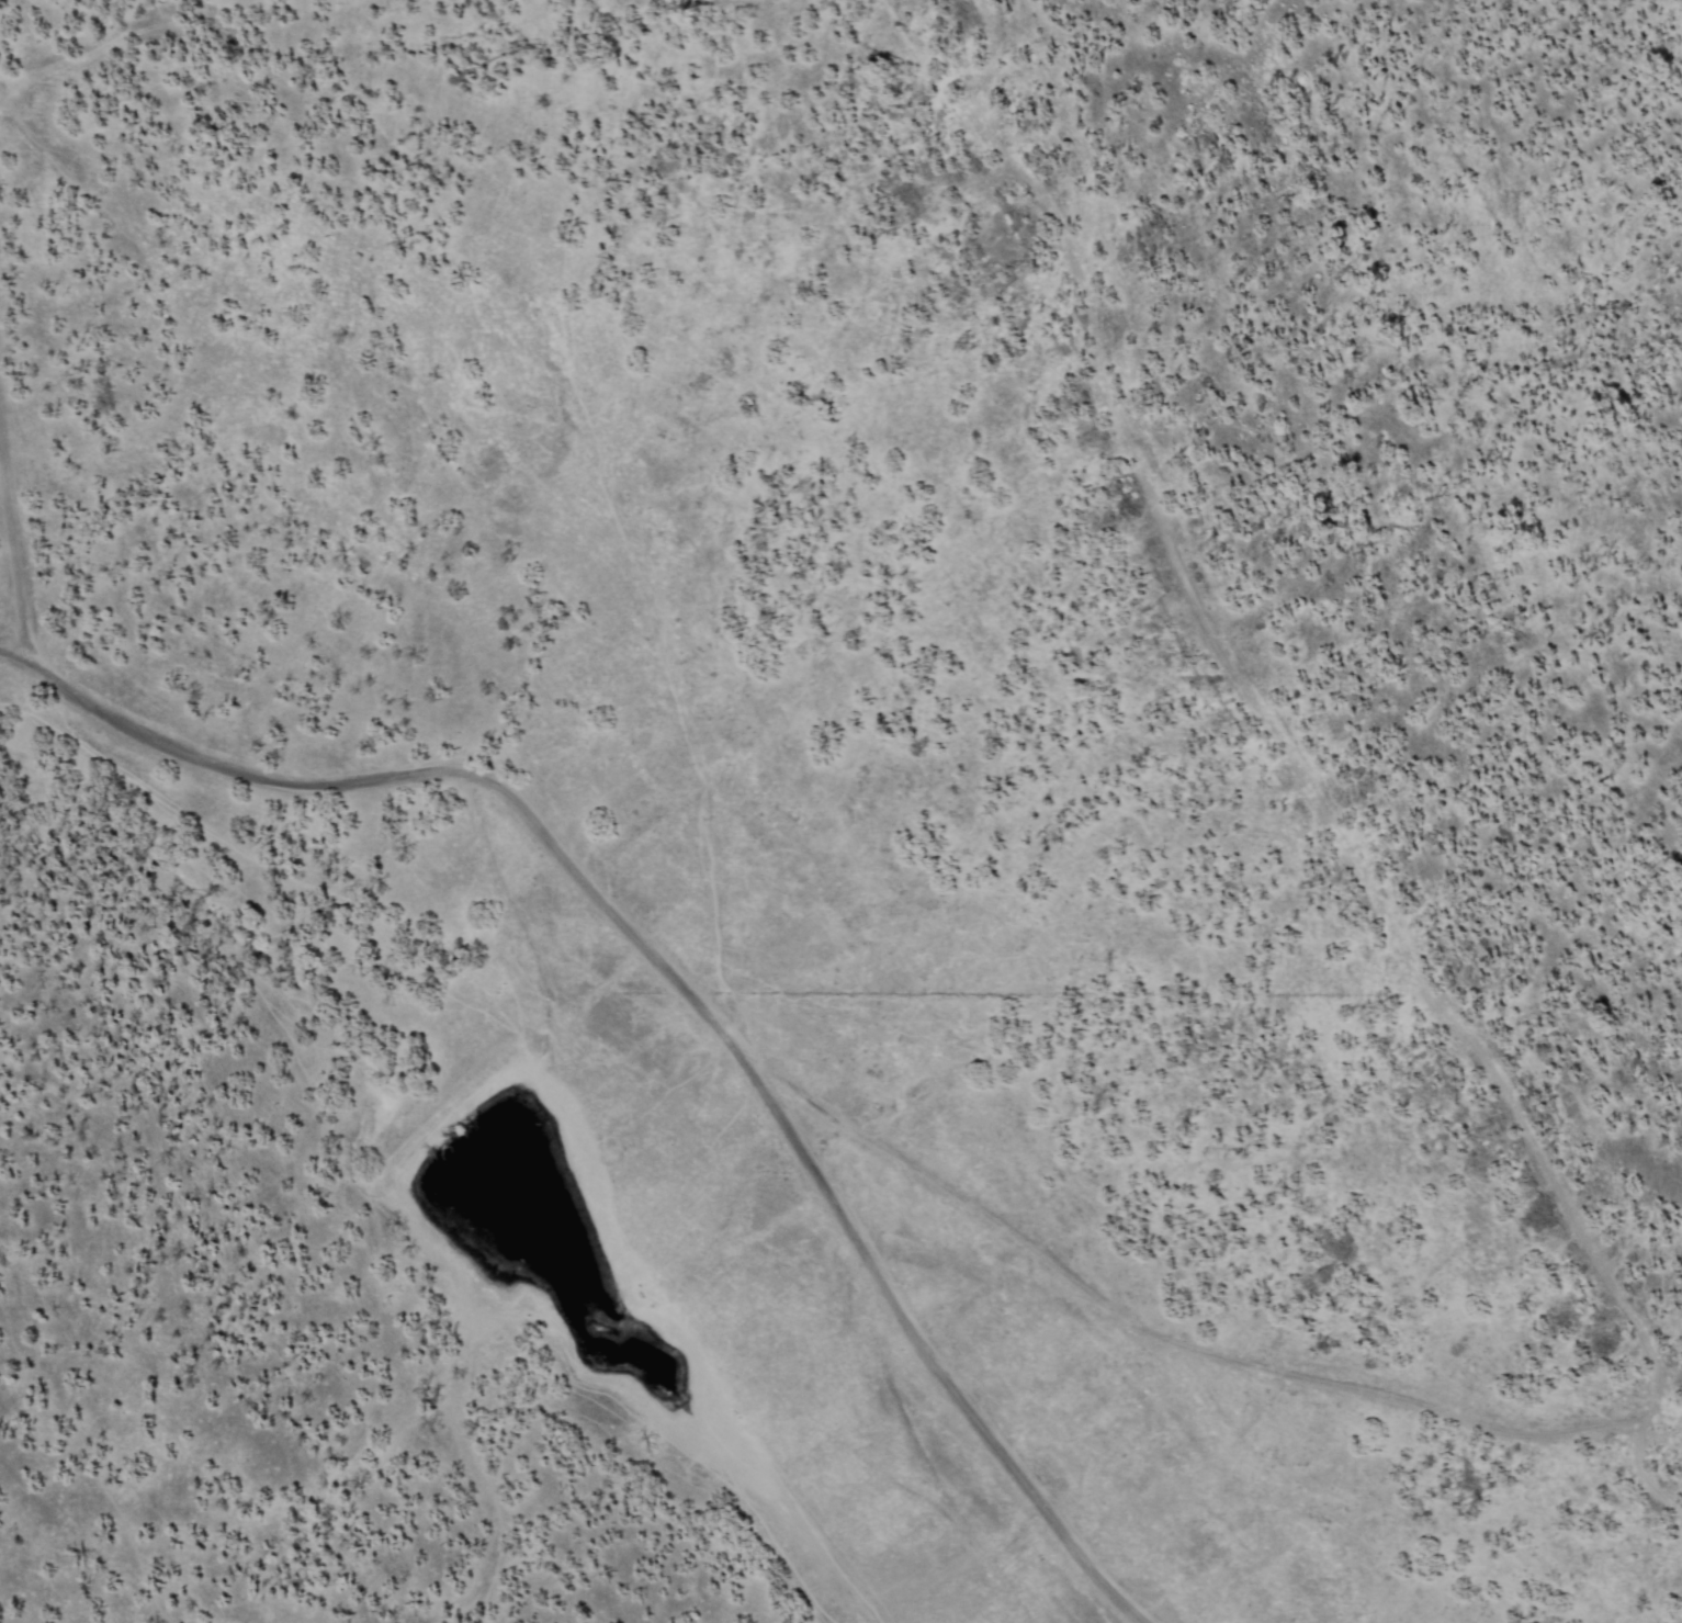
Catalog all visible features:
road: (673, 988)

